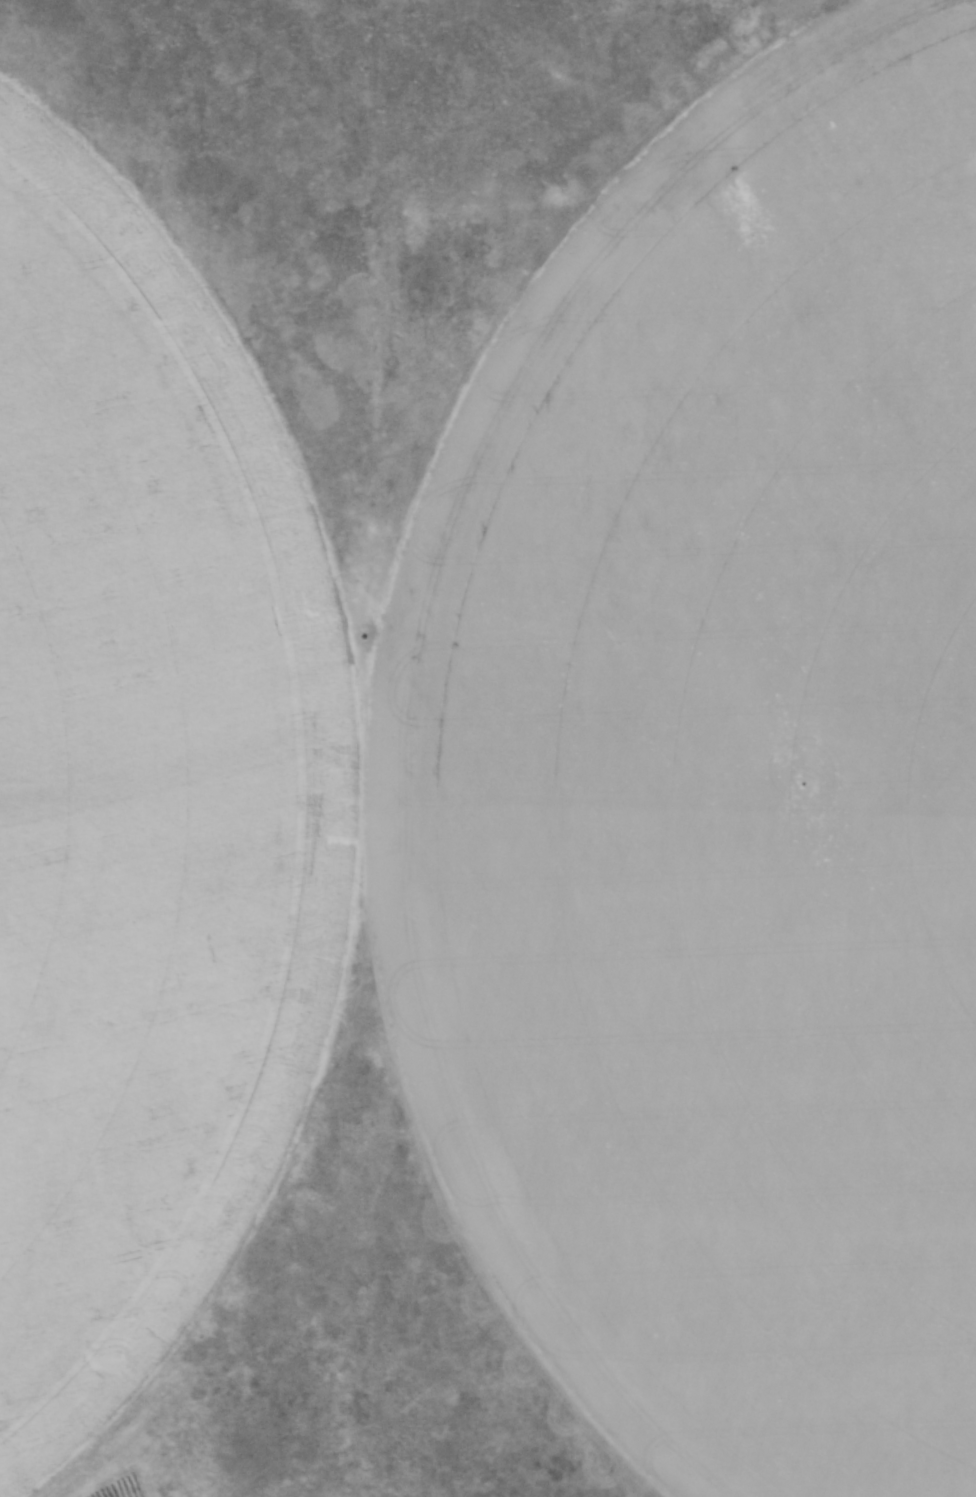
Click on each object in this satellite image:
crop: (718, 781)
crop: (144, 789)

